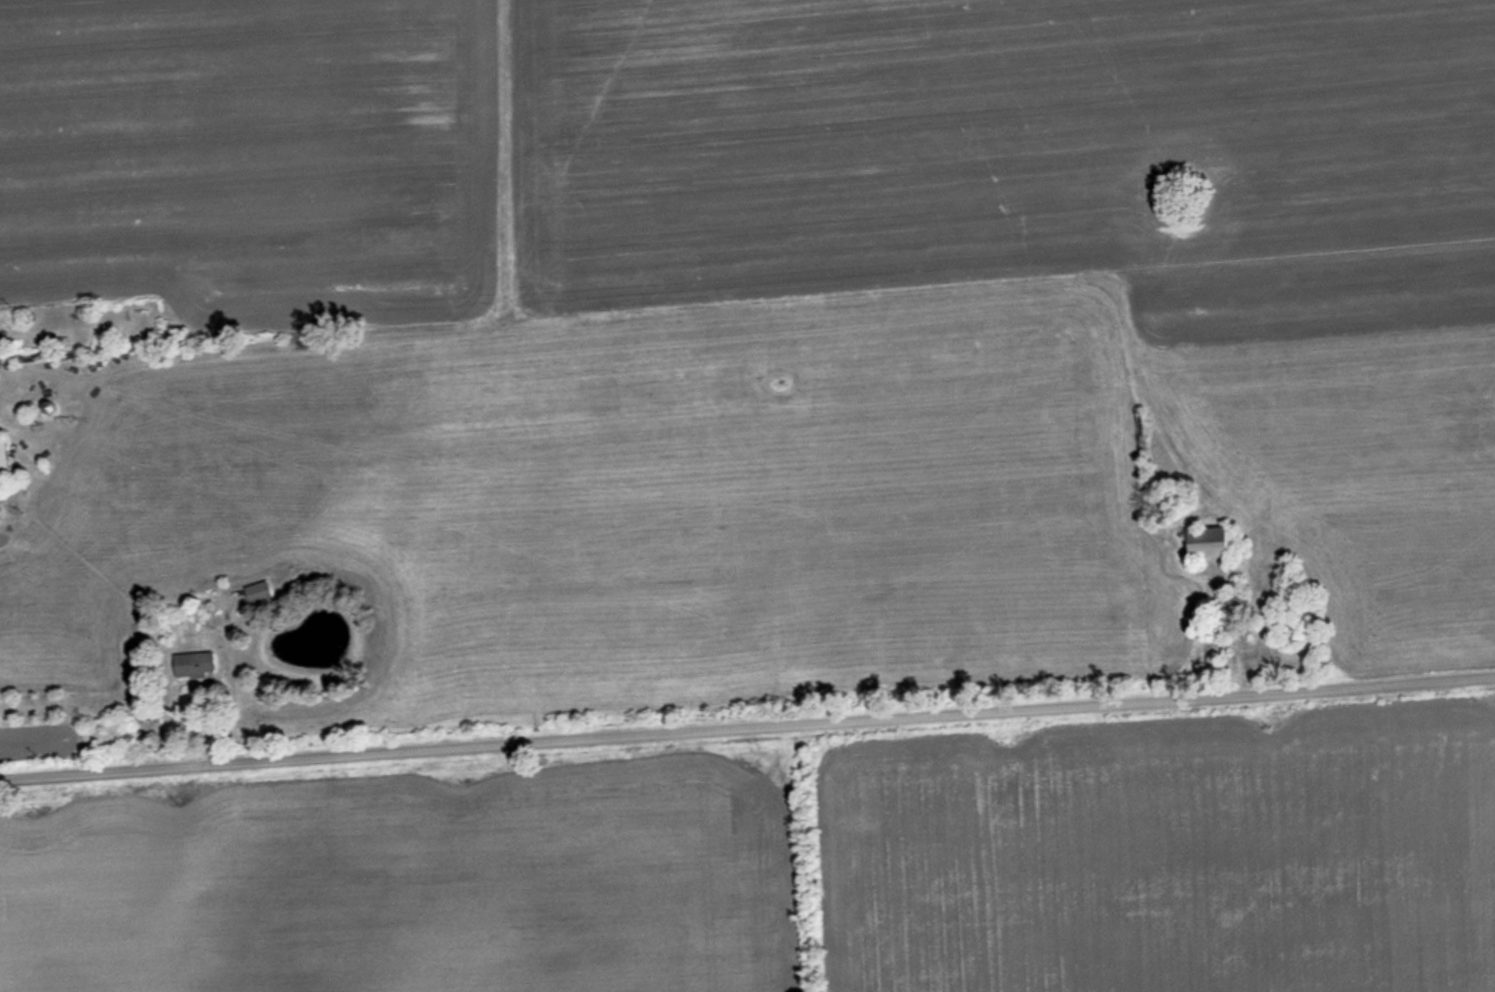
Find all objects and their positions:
building: (4, 465)
building: (1204, 542)
building: (257, 592)
building: (194, 664)
road: (235, 688)
road: (747, 727)

